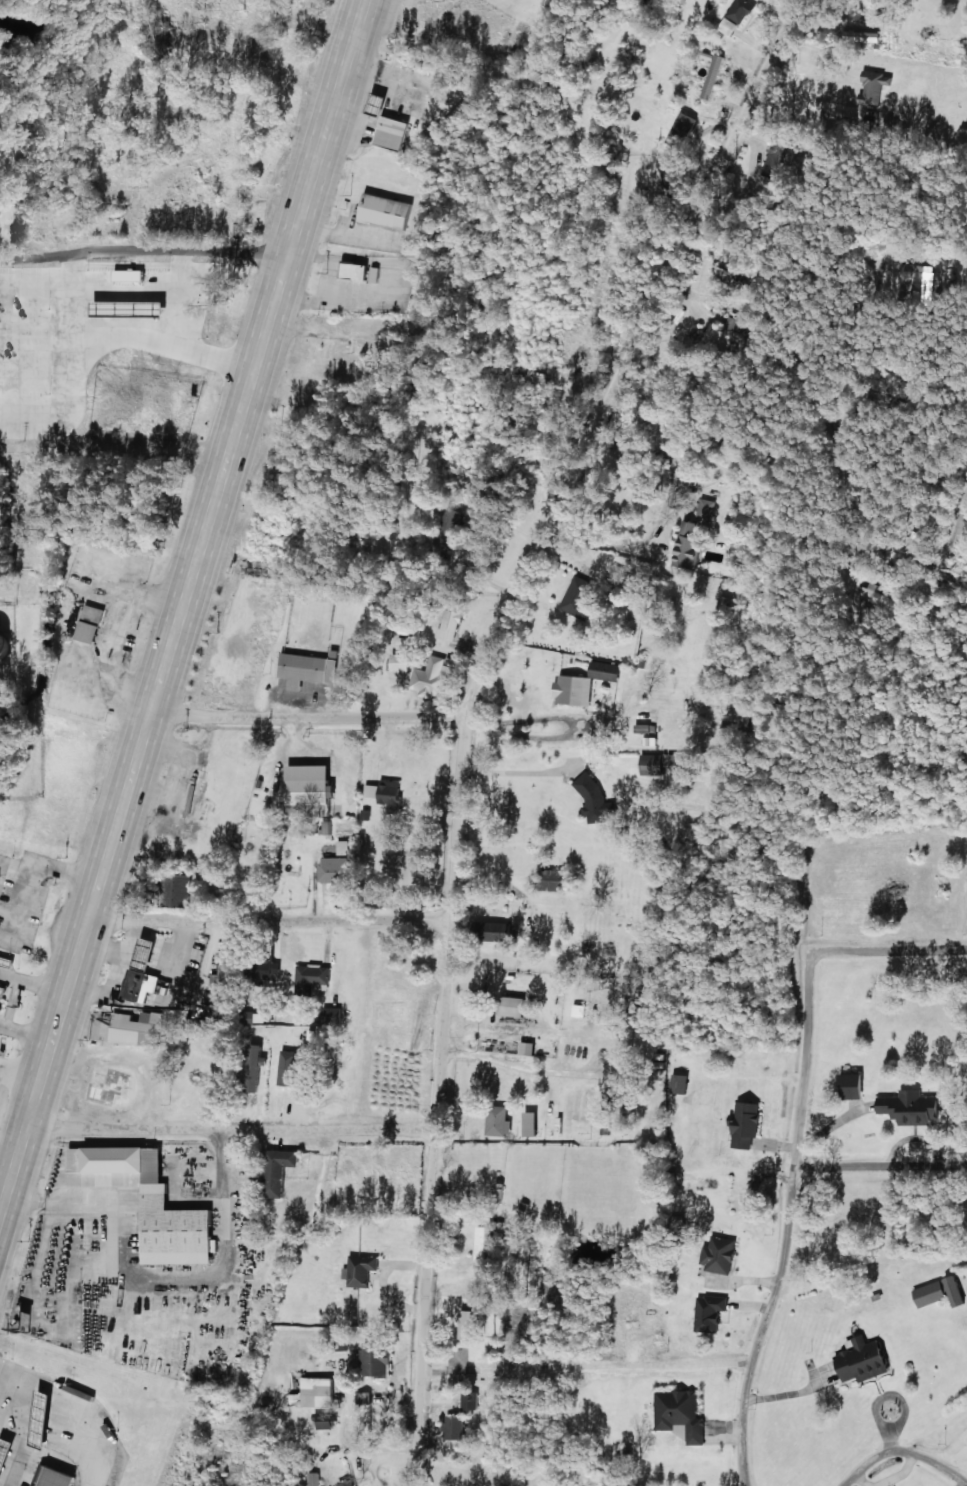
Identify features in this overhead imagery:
building: (737, 16)
building: (714, 75)
building: (877, 80)
gas station: (382, 127)
building: (394, 131)
building: (680, 131)
building: (783, 154)
building: (670, 177)
building: (388, 211)
road: (299, 218)
road: (143, 260)
building: (362, 271)
building: (733, 274)
building: (924, 281)
building: (718, 334)
road: (6, 427)
building: (706, 507)
building: (451, 528)
building: (688, 544)
road: (10, 574)
building: (579, 597)
building: (877, 598)
building: (92, 623)
building: (451, 624)
building: (8, 645)
building: (309, 669)
building: (607, 670)
building: (433, 677)
building: (575, 689)
road: (470, 706)
road: (307, 716)
building: (663, 762)
building: (312, 786)
building: (388, 793)
building: (595, 799)
road: (117, 826)
building: (343, 847)
building: (335, 869)
building: (0, 875)
building: (554, 880)
building: (182, 890)
road: (269, 922)
building: (500, 931)
building: (270, 968)
building: (146, 973)
building: (313, 977)
building: (4, 990)
building: (515, 1006)
building: (226, 1008)
building: (1, 1009)
building: (578, 1010)
building: (334, 1015)
building: (140, 1028)
building: (529, 1048)
building: (257, 1066)
building: (293, 1075)
building: (681, 1083)
building: (856, 1086)
road: (546, 1103)
building: (904, 1106)
building: (500, 1121)
building: (533, 1124)
building: (748, 1124)
road: (230, 1130)
building: (281, 1169)
building: (699, 1182)
building: (150, 1201)
building: (720, 1254)
building: (363, 1269)
road: (875, 1277)
building: (957, 1290)
building: (931, 1293)
building: (712, 1312)
building: (378, 1357)
building: (865, 1358)
road: (587, 1368)
road: (750, 1378)
building: (319, 1391)
building: (470, 1399)
building: (681, 1413)
building: (46, 1417)
building: (325, 1420)
building: (455, 1427)
building: (6, 1455)
building: (55, 1476)
building: (313, 1478)
building: (348, 1483)

